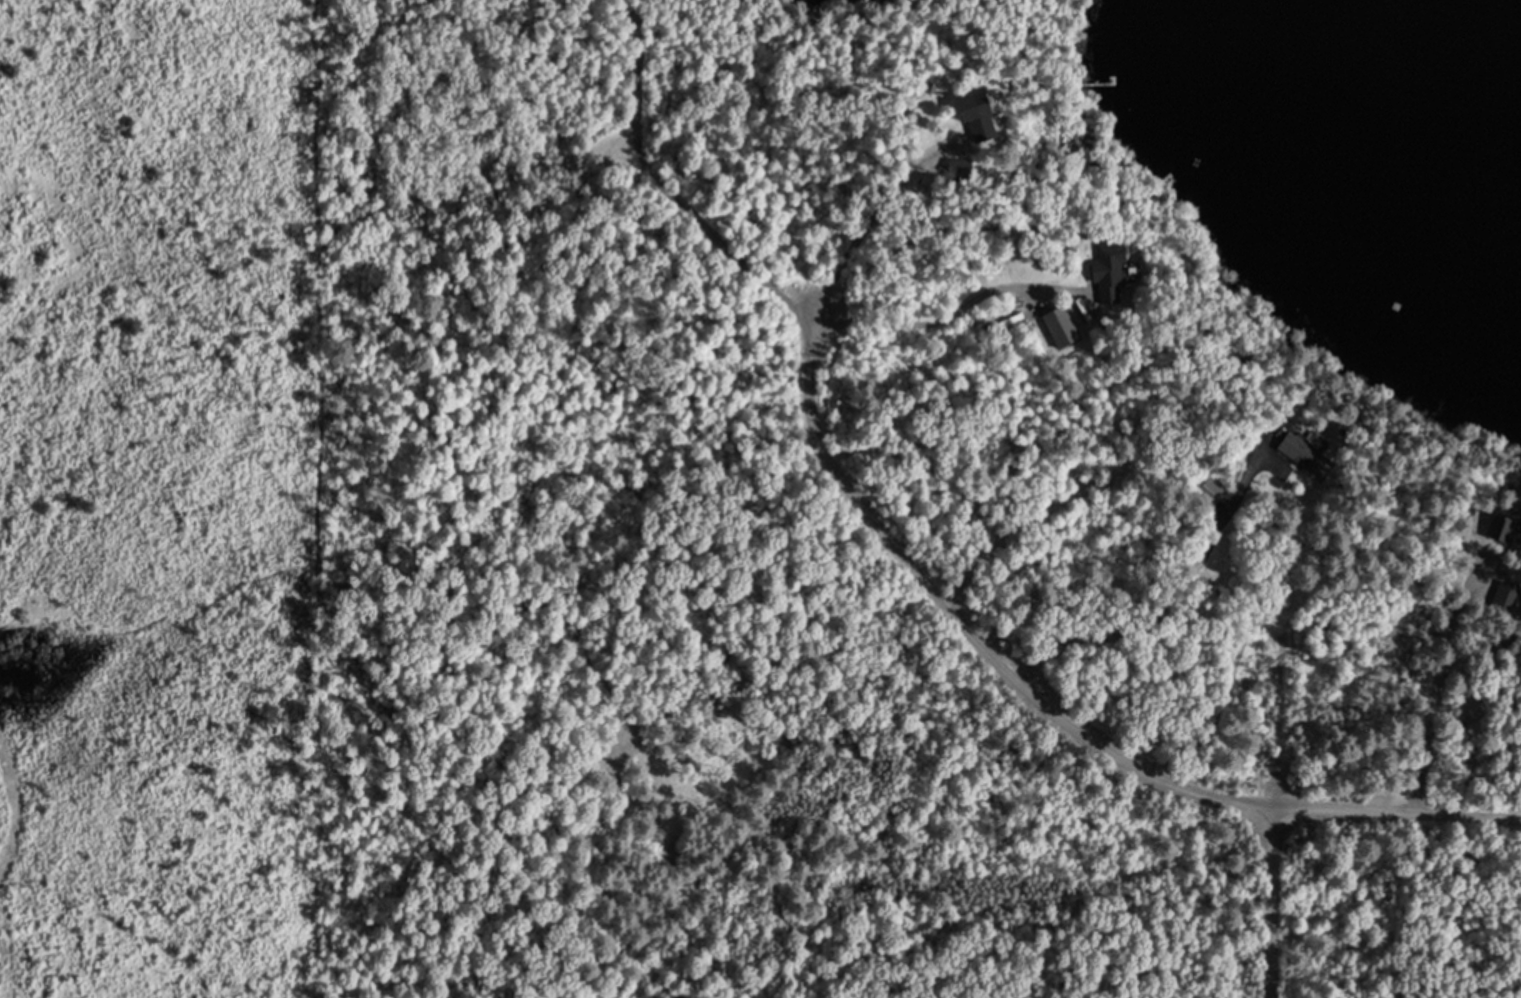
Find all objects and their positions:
road: (756, 269)
building: (1120, 271)
building: (1071, 329)
building: (1311, 456)
building: (1508, 530)
road: (1145, 613)
road: (1054, 713)
road: (1422, 723)
road: (1271, 903)

